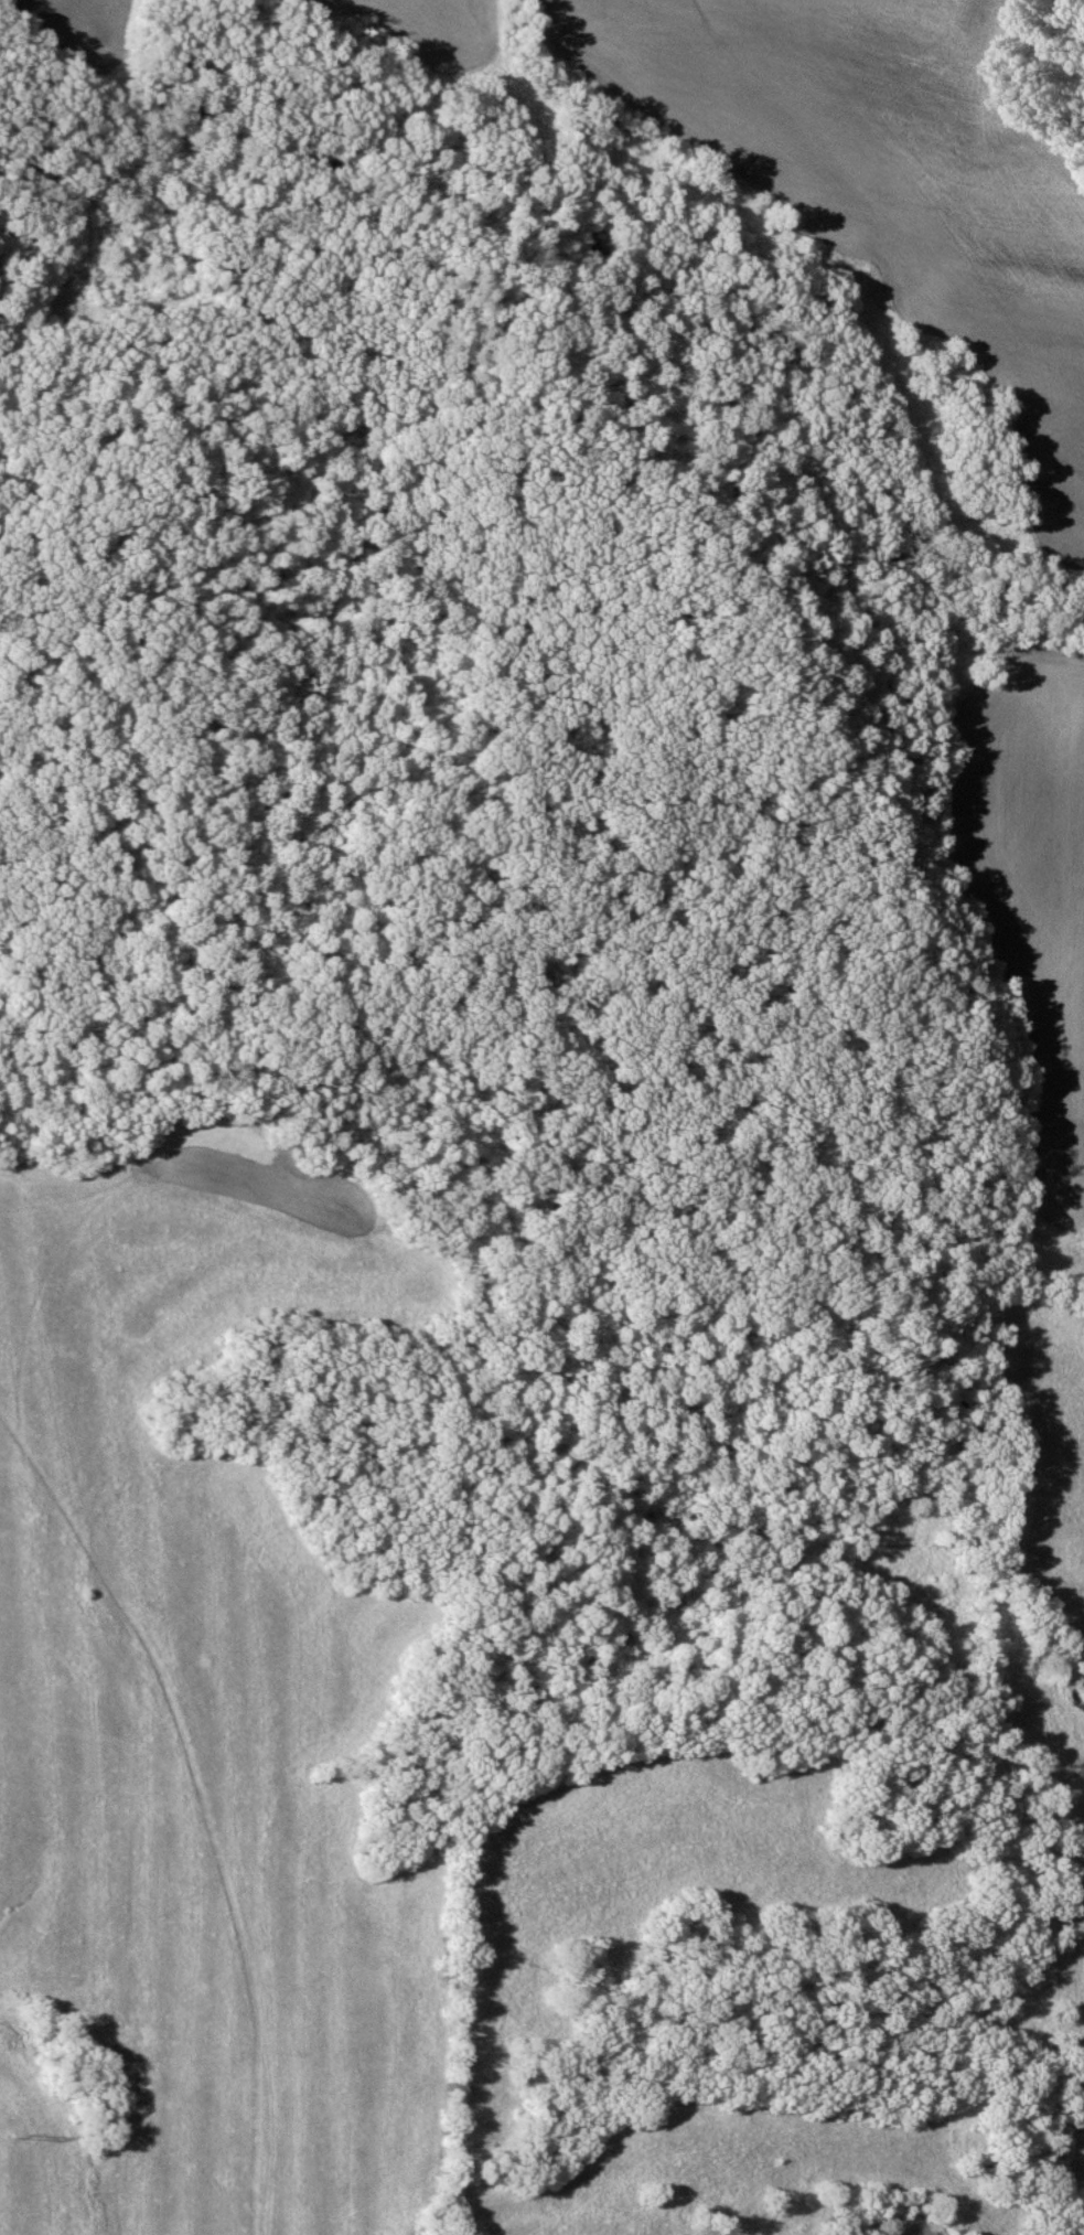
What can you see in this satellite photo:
power tower: (31, 2134)

